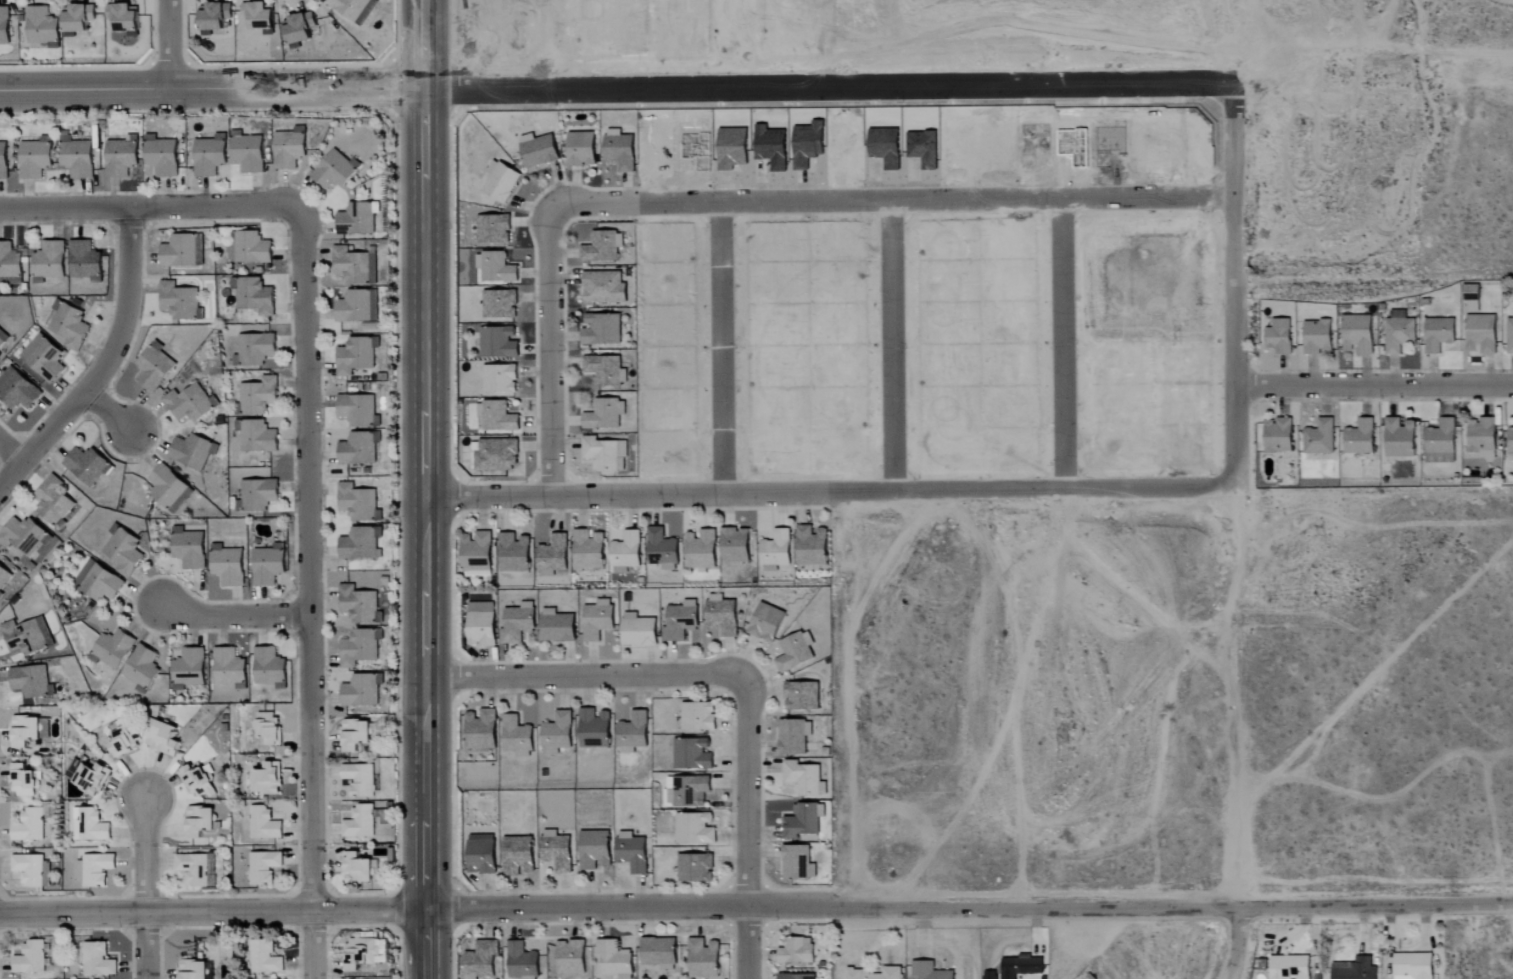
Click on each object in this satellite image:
building: (350, 9)
building: (255, 16)
building: (75, 18)
building: (122, 18)
road: (1205, 20)
building: (3, 25)
building: (39, 27)
building: (296, 28)
road: (173, 47)
road: (758, 75)
road: (1231, 118)
building: (287, 147)
building: (579, 148)
building: (536, 149)
building: (617, 149)
building: (245, 151)
building: (207, 154)
building: (159, 155)
building: (74, 156)
building: (119, 156)
building: (32, 158)
building: (333, 169)
building: (499, 182)
road: (892, 203)
road: (155, 207)
building: (354, 218)
building: (490, 228)
building: (601, 246)
building: (250, 247)
building: (180, 250)
building: (82, 260)
building: (46, 261)
building: (9, 265)
building: (352, 265)
building: (495, 266)
building: (602, 286)
building: (1470, 292)
building: (253, 295)
building: (178, 300)
building: (497, 303)
building: (355, 306)
building: (67, 325)
building: (600, 328)
building: (1398, 331)
building: (1356, 333)
building: (1479, 333)
building: (1437, 334)
building: (1278, 335)
building: (1509, 335)
building: (2, 336)
building: (1317, 336)
building: (496, 341)
road: (1238, 341)
building: (253, 348)
road: (891, 349)
road: (722, 351)
road: (550, 353)
building: (354, 354)
building: (41, 357)
road: (108, 363)
building: (152, 366)
building: (604, 369)
building: (497, 377)
road: (1376, 383)
building: (16, 389)
building: (256, 395)
building: (189, 402)
road: (111, 408)
building: (356, 409)
building: (603, 413)
building: (494, 416)
building: (1276, 434)
building: (1480, 435)
building: (255, 436)
building: (1317, 437)
building: (1358, 437)
building: (1398, 437)
building: (1439, 441)
building: (1509, 444)
road: (11, 447)
building: (357, 448)
building: (190, 450)
building: (603, 453)
building: (494, 454)
building: (85, 465)
building: (167, 488)
road: (422, 489)
building: (256, 494)
road: (829, 494)
building: (51, 500)
building: (356, 502)
building: (22, 535)
building: (358, 543)
building: (732, 544)
building: (809, 545)
building: (586, 548)
building: (660, 549)
building: (698, 550)
building: (773, 550)
building: (122, 551)
building: (512, 552)
building: (623, 552)
building: (474, 554)
building: (551, 555)
road: (1055, 555)
building: (266, 564)
building: (225, 565)
building: (3, 576)
building: (96, 582)
building: (0, 594)
road: (310, 600)
building: (357, 604)
building: (719, 614)
road: (235, 617)
building: (596, 619)
building: (679, 621)
building: (764, 621)
building: (517, 622)
building: (479, 623)
building: (555, 625)
building: (636, 630)
building: (25, 636)
building: (357, 647)
building: (110, 648)
building: (793, 651)
building: (138, 667)
building: (227, 667)
building: (267, 667)
building: (186, 668)
road: (584, 679)
building: (29, 681)
building: (359, 690)
road: (1232, 694)
building: (800, 695)
building: (696, 716)
building: (265, 727)
building: (592, 728)
building: (479, 729)
building: (22, 730)
building: (631, 732)
building: (555, 733)
building: (353, 734)
building: (514, 736)
building: (792, 736)
building: (161, 738)
building: (121, 740)
building: (690, 753)
building: (85, 776)
building: (803, 778)
building: (263, 779)
building: (359, 780)
building: (20, 781)
building: (196, 781)
road: (746, 791)
building: (802, 820)
building: (197, 821)
building: (358, 822)
building: (261, 823)
building: (87, 825)
building: (26, 826)
building: (694, 828)
building: (593, 849)
building: (555, 850)
building: (631, 851)
building: (480, 854)
building: (517, 855)
building: (796, 862)
building: (261, 866)
building: (693, 867)
building: (91, 868)
building: (355, 868)
building: (30, 869)
building: (195, 869)
road: (147, 886)
road: (969, 906)
road: (213, 912)
road: (748, 942)
road: (1235, 942)
building: (794, 951)
building: (362, 952)
building: (657, 953)
building: (28, 957)
building: (263, 957)
building: (568, 957)
building: (701, 958)
building: (612, 959)
building: (95, 960)
building: (520, 961)
building: (1411, 966)
building: (1288, 967)
building: (1015, 968)
building: (190, 969)
building: (1353, 969)
building: (855, 970)
building: (927, 971)
building: (794, 976)

